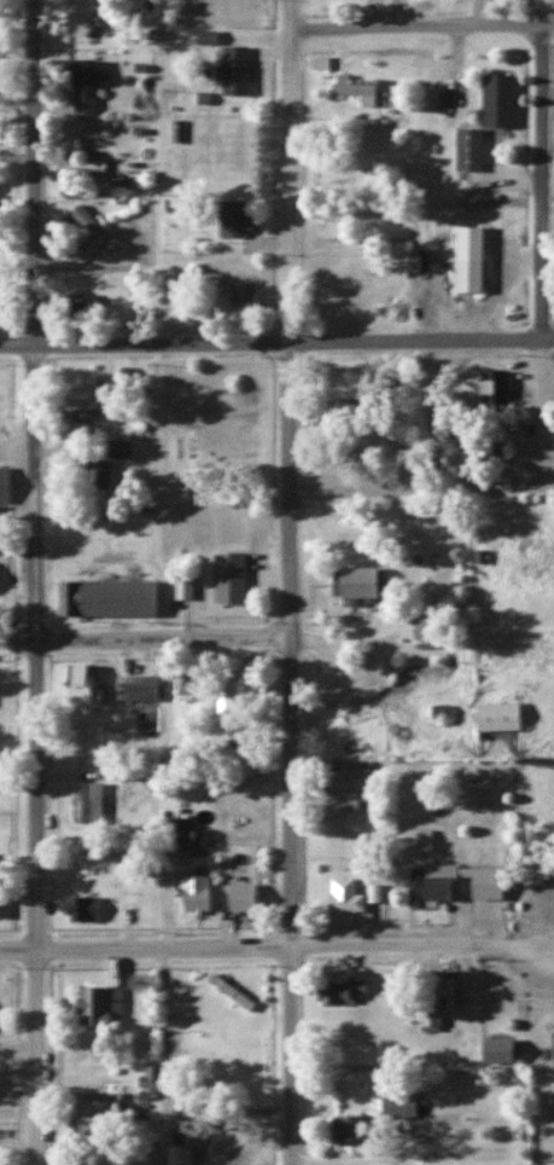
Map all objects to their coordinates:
road: (422, 23)
building: (86, 28)
building: (232, 71)
building: (80, 88)
building: (352, 91)
building: (484, 120)
building: (232, 219)
road: (548, 254)
building: (467, 259)
building: (241, 295)
building: (80, 303)
road: (276, 341)
building: (82, 387)
building: (492, 387)
building: (485, 452)
building: (95, 474)
road: (422, 487)
building: (227, 579)
road: (40, 582)
road: (293, 582)
building: (354, 585)
building: (106, 598)
road: (146, 636)
building: (80, 685)
building: (182, 688)
building: (134, 689)
building: (494, 718)
building: (348, 776)
building: (89, 804)
building: (342, 806)
building: (176, 831)
building: (430, 886)
building: (192, 894)
building: (238, 897)
building: (340, 897)
road: (276, 946)
building: (339, 993)
building: (98, 1010)
building: (428, 1013)
building: (494, 1053)
building: (395, 1105)
building: (93, 1117)
building: (349, 1129)

